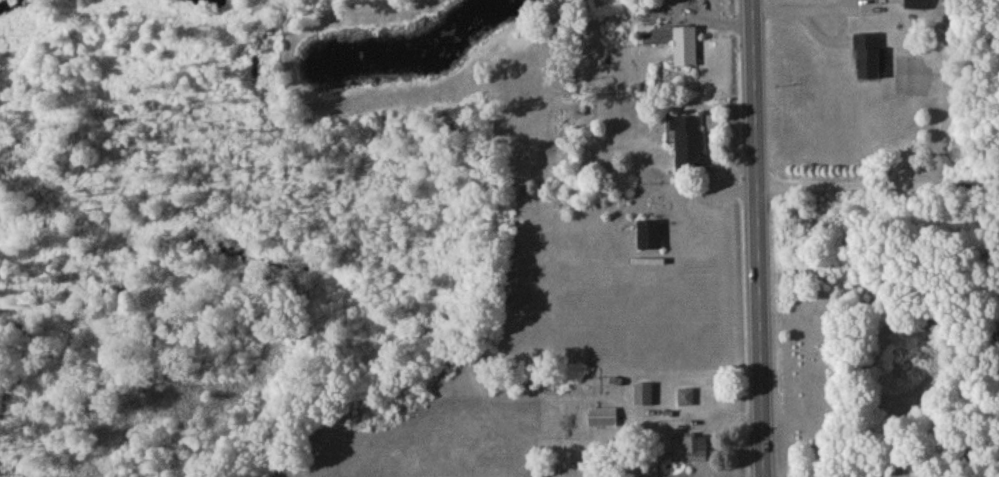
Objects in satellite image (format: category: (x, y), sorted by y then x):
road: (810, 5)
building: (918, 6)
road: (723, 23)
building: (673, 44)
building: (869, 58)
building: (689, 146)
road: (878, 190)
building: (650, 237)
road: (759, 238)
building: (644, 397)
building: (686, 400)
building: (603, 420)
building: (698, 451)

